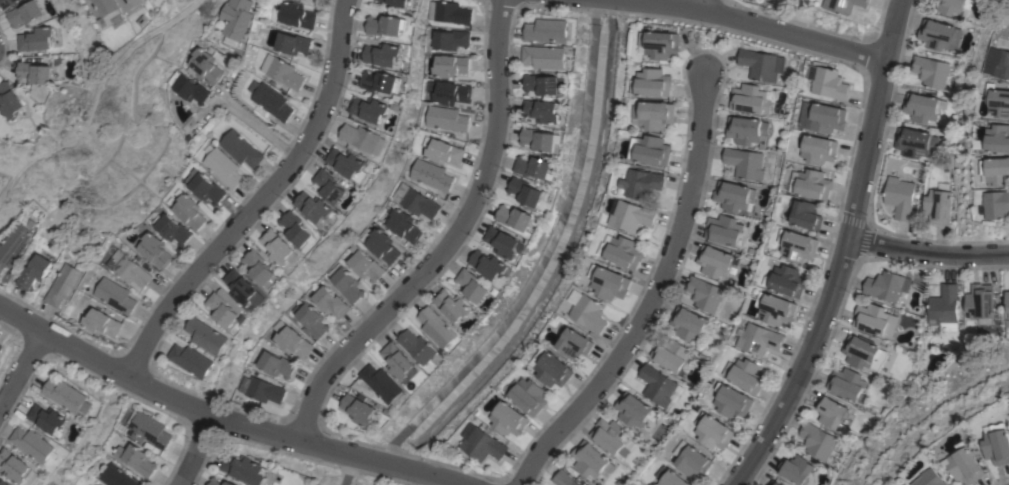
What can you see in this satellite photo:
building: (763, 0)
building: (397, 2)
building: (7, 3)
road: (619, 3)
road: (700, 4)
building: (844, 5)
building: (953, 6)
building: (133, 7)
building: (106, 11)
building: (449, 12)
building: (26, 13)
building: (294, 15)
building: (235, 17)
building: (386, 25)
road: (765, 27)
building: (547, 30)
building: (939, 35)
building: (38, 39)
building: (451, 39)
building: (292, 43)
building: (660, 44)
building: (382, 54)
building: (545, 56)
building: (998, 63)
building: (758, 64)
building: (450, 65)
building: (203, 66)
building: (281, 71)
building: (931, 71)
building: (37, 72)
building: (380, 81)
building: (828, 82)
building: (652, 83)
building: (545, 84)
building: (187, 87)
building: (449, 92)
building: (751, 98)
building: (12, 100)
building: (270, 100)
building: (999, 102)
building: (923, 107)
building: (369, 109)
building: (542, 110)
building: (654, 114)
building: (823, 117)
power tower: (81, 118)
building: (447, 118)
road: (256, 127)
building: (746, 130)
building: (363, 138)
building: (998, 138)
building: (541, 139)
building: (914, 142)
building: (240, 149)
building: (819, 149)
building: (651, 150)
building: (442, 151)
building: (347, 163)
building: (745, 163)
building: (533, 166)
building: (223, 167)
building: (996, 171)
building: (431, 175)
building: (642, 183)
building: (811, 183)
building: (329, 186)
building: (204, 187)
building: (526, 191)
building: (734, 196)
building: (899, 197)
road: (257, 200)
building: (415, 201)
building: (997, 204)
building: (938, 206)
building: (314, 207)
building: (187, 210)
building: (632, 215)
building: (806, 215)
building: (515, 217)
building: (402, 224)
building: (296, 228)
building: (172, 229)
building: (724, 229)
road: (448, 240)
building: (14, 242)
building: (504, 242)
building: (382, 246)
building: (799, 246)
building: (279, 247)
building: (152, 249)
building: (622, 251)
road: (845, 251)
road: (928, 257)
building: (715, 261)
building: (365, 264)
building: (489, 264)
building: (127, 268)
building: (261, 269)
building: (34, 271)
building: (788, 280)
building: (609, 282)
building: (63, 284)
building: (347, 285)
building: (472, 285)
building: (241, 286)
building: (884, 286)
building: (704, 294)
building: (114, 295)
road: (652, 296)
building: (1007, 301)
building: (330, 302)
building: (980, 303)
building: (943, 304)
building: (453, 305)
building: (226, 308)
building: (776, 308)
building: (590, 313)
building: (872, 318)
building: (312, 321)
building: (101, 322)
building: (689, 323)
building: (437, 327)
building: (207, 335)
building: (759, 339)
building: (293, 342)
building: (575, 342)
building: (1, 346)
building: (418, 346)
building: (863, 353)
building: (672, 355)
building: (191, 359)
building: (399, 362)
building: (277, 364)
building: (553, 369)
road: (19, 371)
building: (748, 375)
building: (846, 383)
building: (383, 384)
building: (659, 386)
building: (263, 389)
building: (67, 396)
building: (529, 396)
road: (169, 399)
building: (732, 401)
building: (633, 409)
building: (359, 410)
building: (831, 411)
building: (48, 418)
building: (509, 419)
building: (148, 430)
building: (713, 431)
building: (611, 436)
building: (481, 443)
building: (818, 443)
building: (998, 443)
building: (34, 444)
road: (192, 451)
building: (136, 459)
building: (591, 459)
building: (692, 459)
road: (379, 461)
building: (967, 464)
building: (15, 465)
building: (245, 469)
building: (797, 470)
building: (116, 476)
road: (435, 477)
building: (670, 477)
building: (563, 478)
building: (932, 478)
building: (214, 479)
building: (4, 482)
building: (774, 483)

